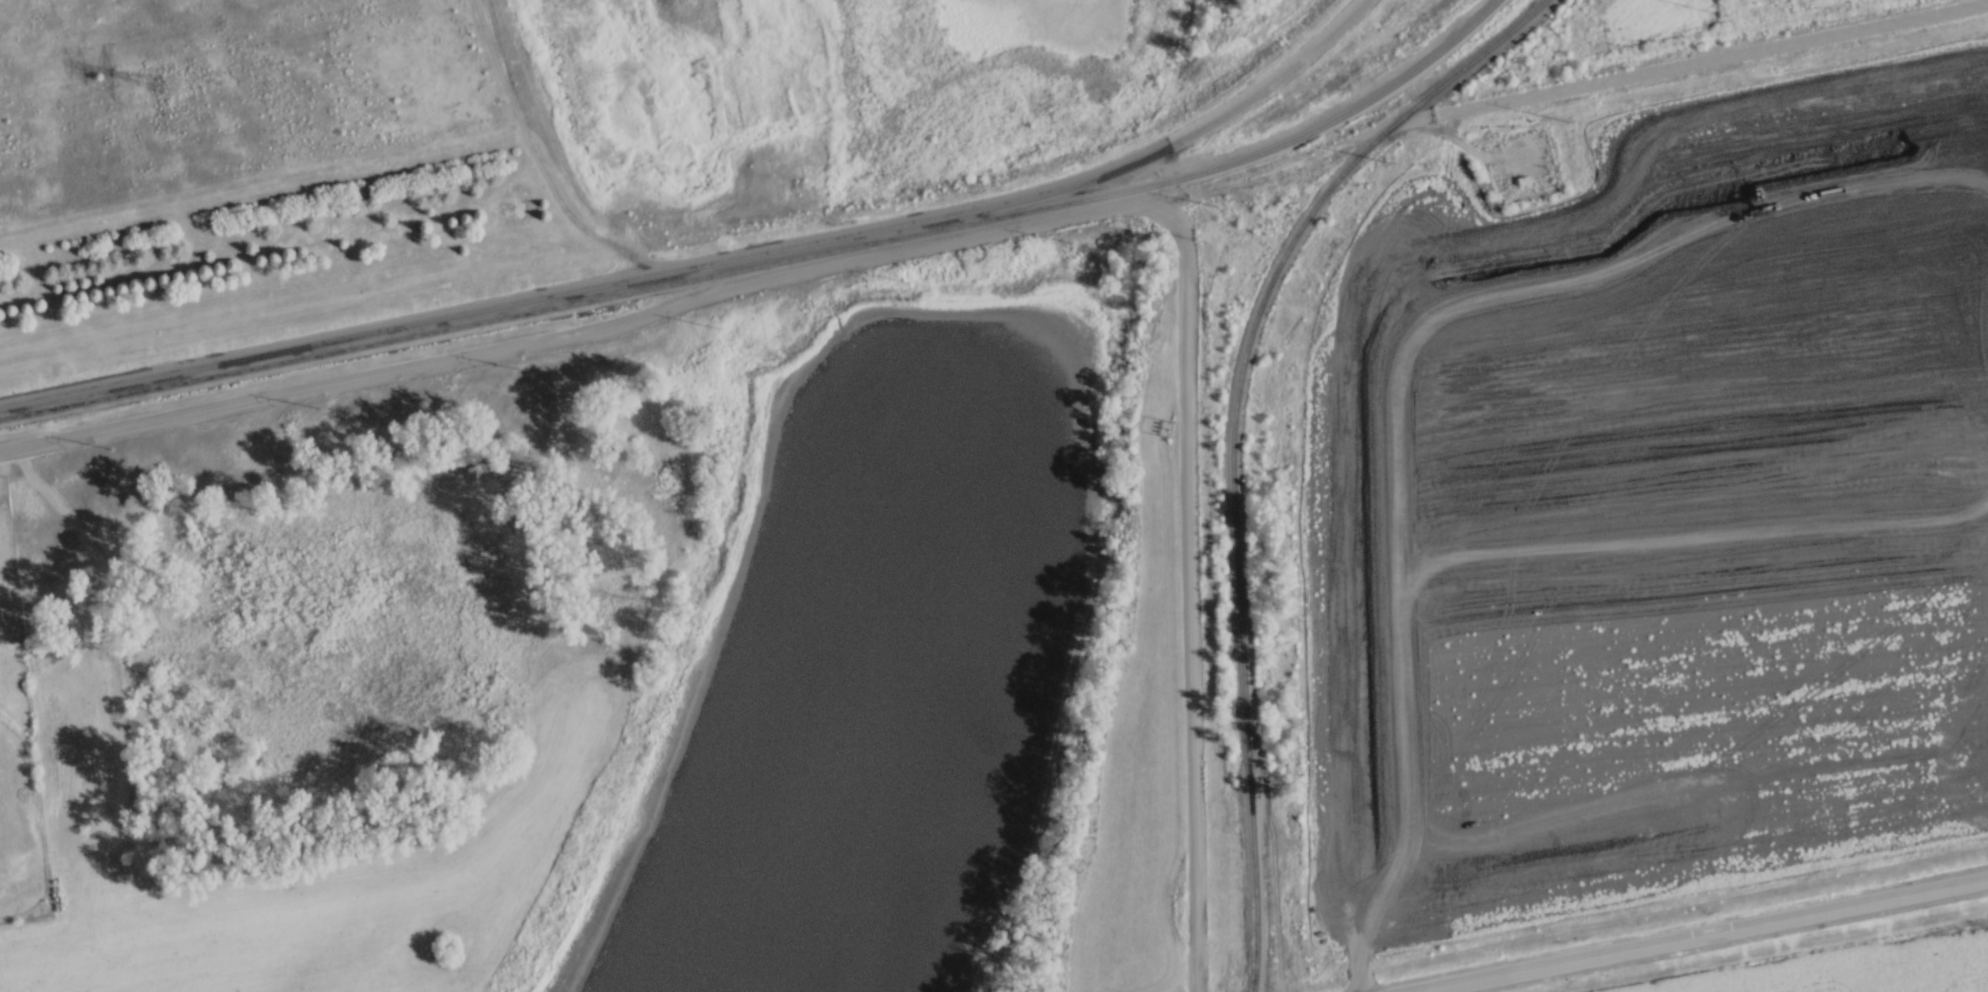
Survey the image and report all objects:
power tower: (678, 1)
road: (1711, 61)
power tower: (169, 85)
power tower: (1569, 118)
power tower: (1389, 160)
power tower: (1214, 203)
power tower: (1068, 239)
road: (703, 259)
railway: (767, 265)
power tower: (908, 274)
power tower: (716, 324)
road: (583, 332)
power tower: (519, 366)
power tower: (318, 406)
railway: (1234, 433)
power tower: (109, 448)
road: (1190, 593)
road: (1697, 934)

